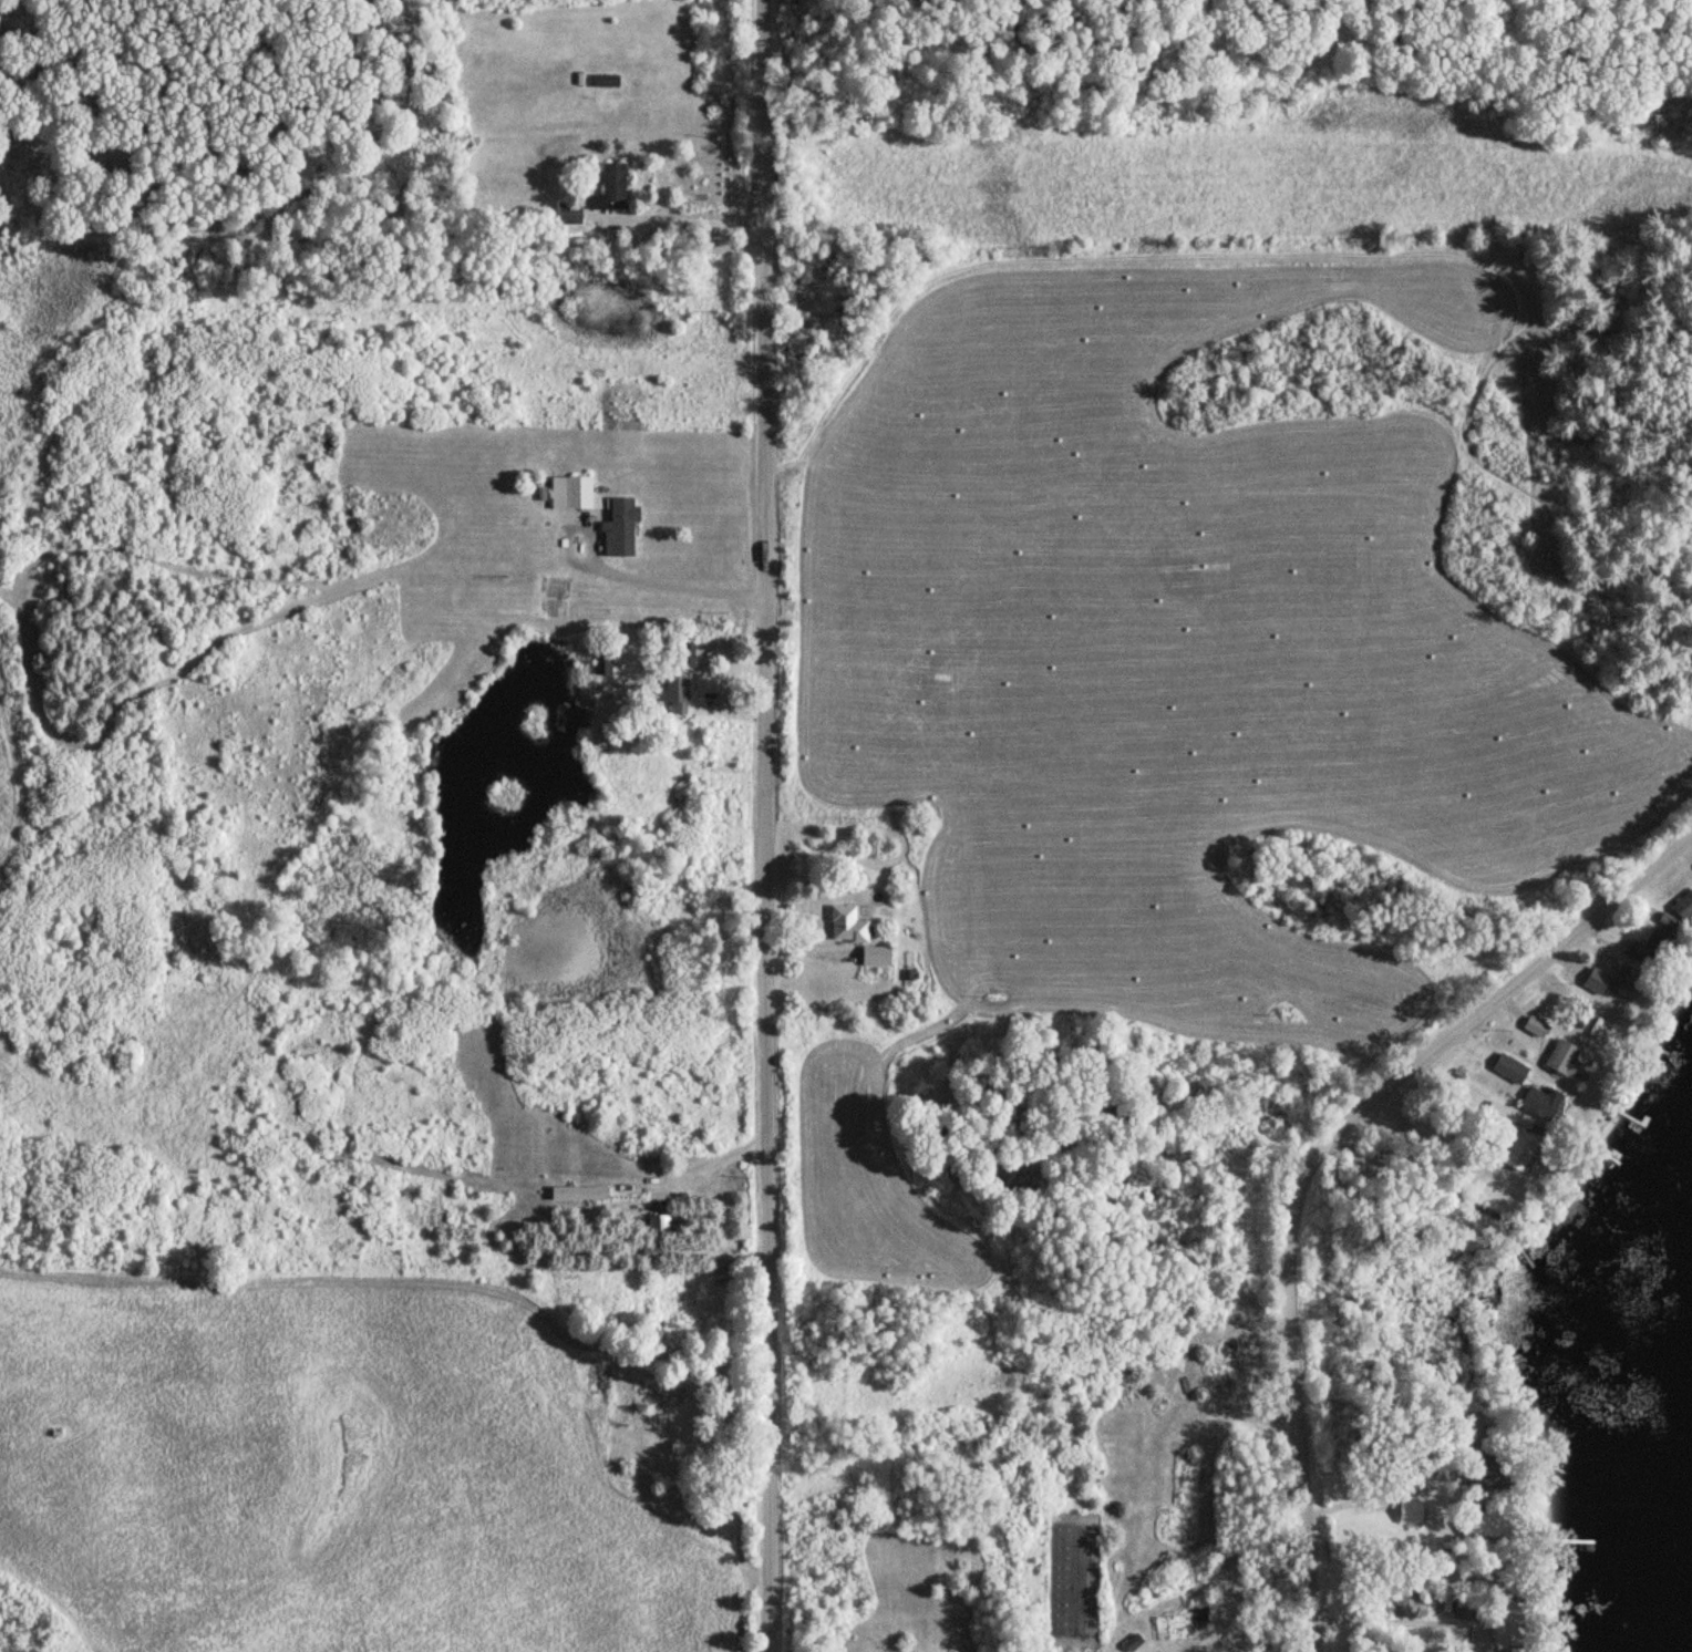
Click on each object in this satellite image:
building: (605, 81)
building: (608, 189)
building: (568, 214)
building: (596, 513)
building: (683, 652)
building: (602, 662)
building: (674, 688)
road: (761, 825)
building: (1683, 908)
building: (845, 925)
road: (1606, 928)
building: (1649, 948)
road: (807, 951)
building: (874, 956)
building: (1610, 980)
building: (1535, 1026)
road: (1475, 1043)
building: (1561, 1059)
building: (1507, 1067)
building: (1539, 1102)
building: (1492, 1116)
building: (1521, 1152)
road: (1313, 1159)
road: (714, 1167)
building: (578, 1192)
building: (648, 1251)
building: (1410, 1512)
building: (1479, 1525)
building: (1457, 1612)
building: (1199, 1617)
building: (1132, 1642)

